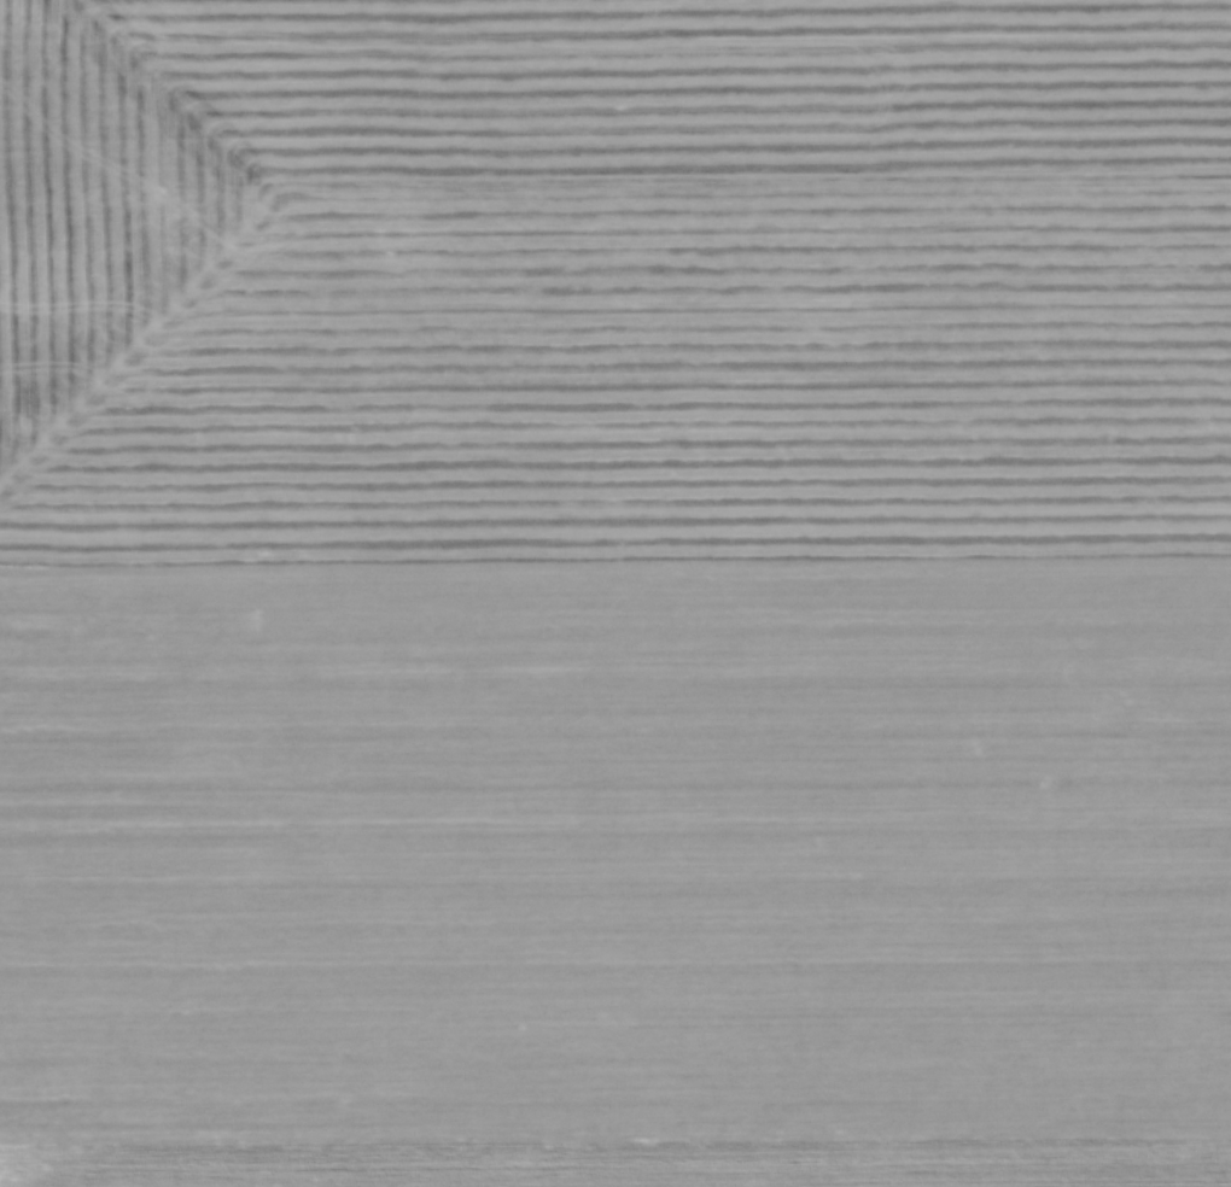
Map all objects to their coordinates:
crop: (631, 1164)

